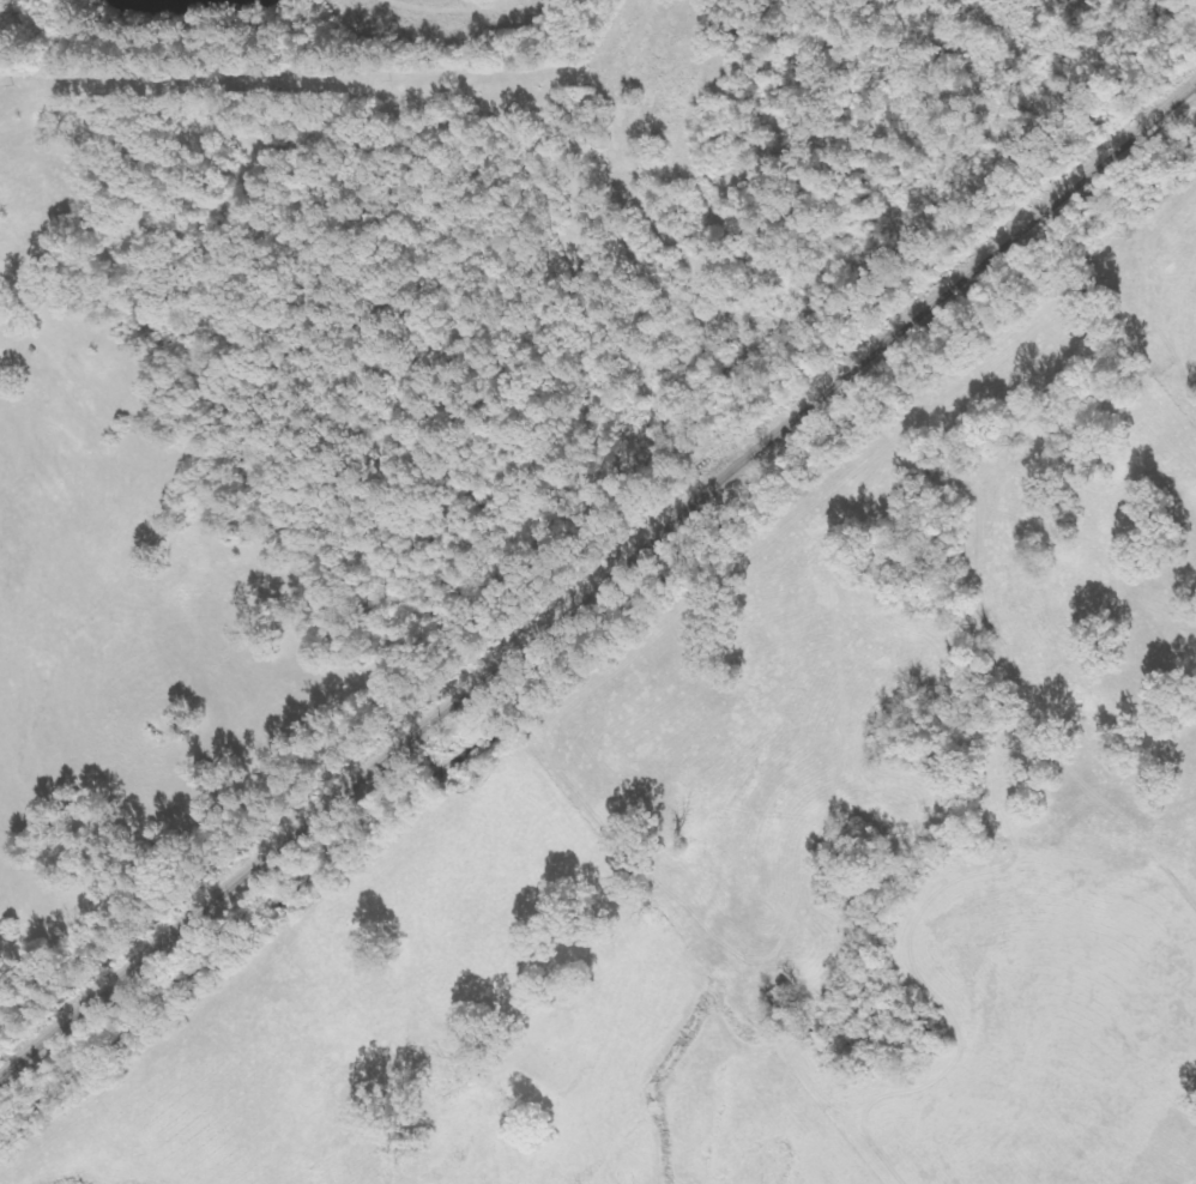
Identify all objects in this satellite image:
road: (344, 107)
railway: (597, 576)

